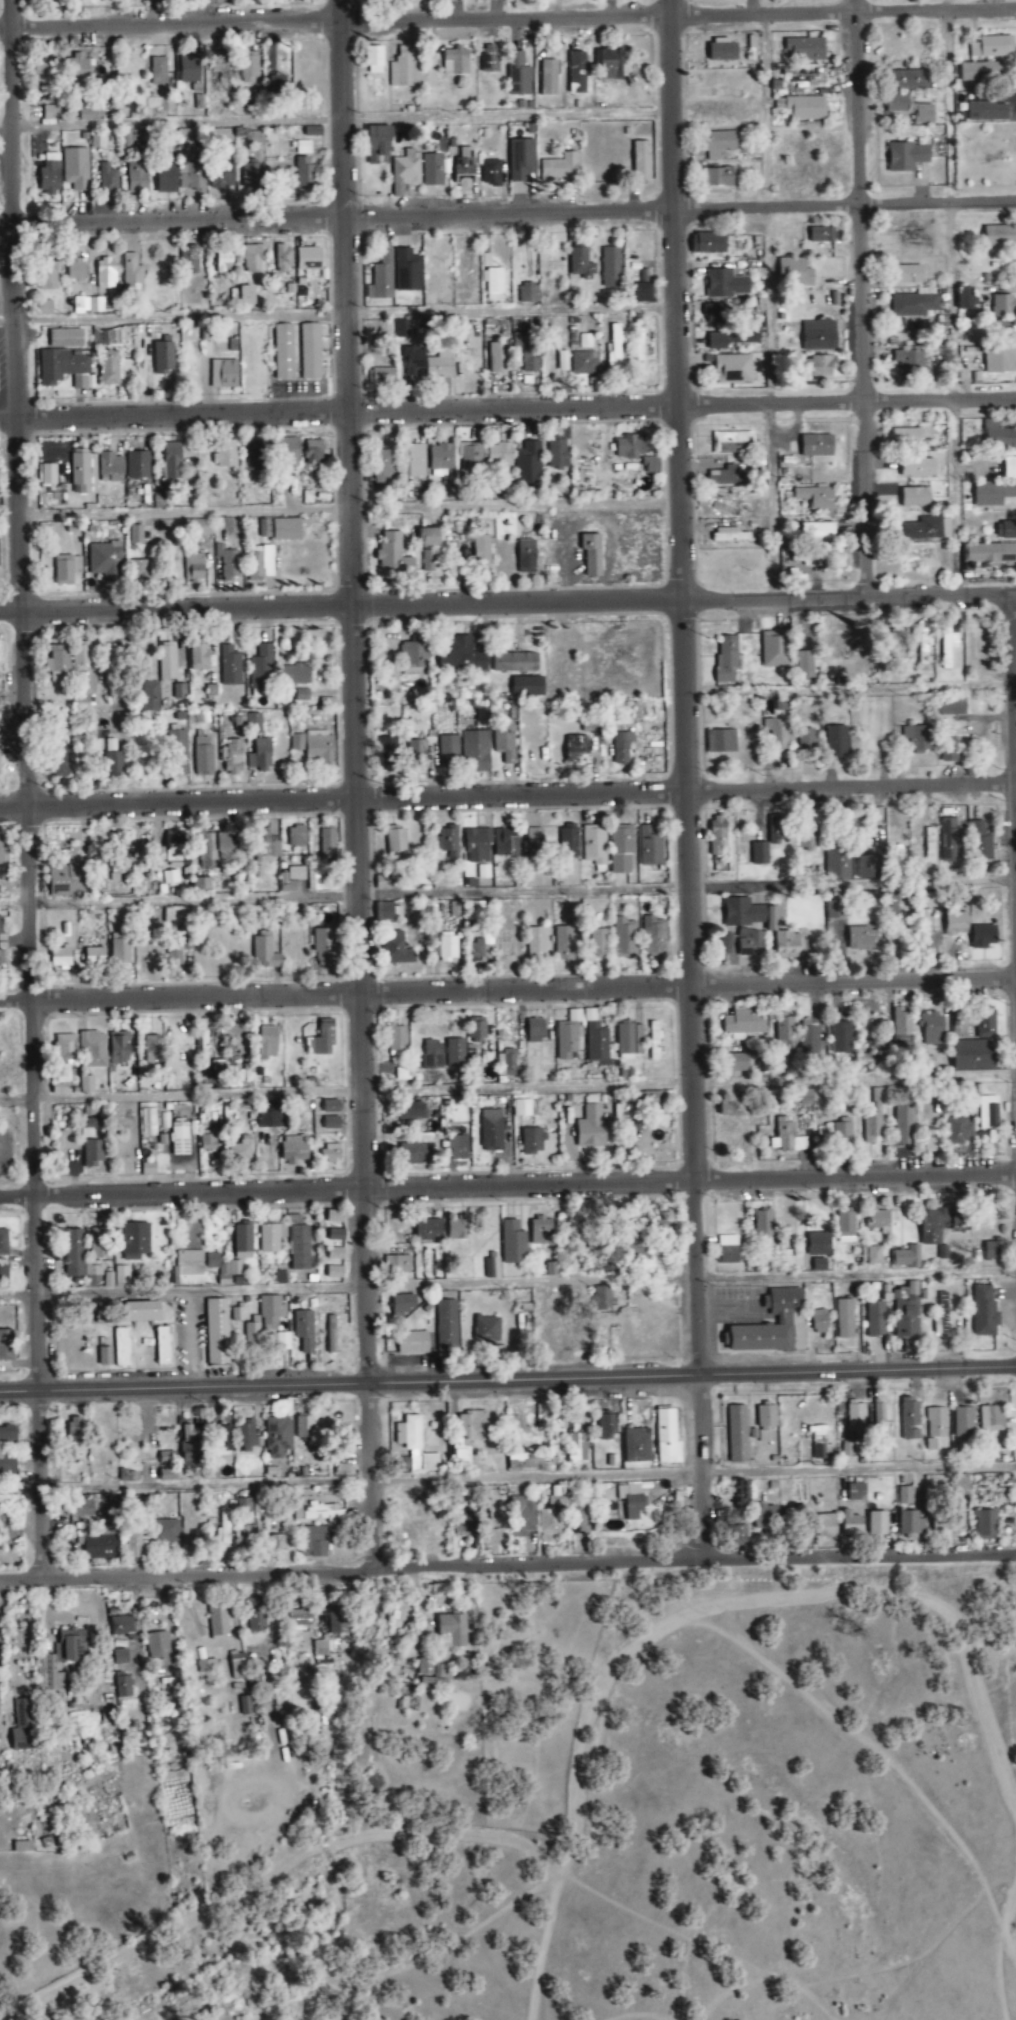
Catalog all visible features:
road: (507, 18)
building: (993, 47)
building: (805, 50)
building: (721, 53)
building: (374, 60)
building: (455, 61)
building: (489, 61)
building: (608, 65)
building: (219, 68)
building: (403, 69)
building: (189, 70)
building: (248, 70)
building: (79, 71)
building: (158, 71)
building: (44, 73)
building: (981, 73)
building: (577, 74)
building: (276, 75)
building: (518, 75)
building: (805, 78)
building: (548, 79)
building: (908, 81)
building: (897, 104)
building: (806, 108)
building: (987, 112)
building: (925, 115)
road: (335, 121)
building: (312, 132)
building: (125, 139)
building: (97, 140)
building: (717, 144)
building: (184, 146)
building: (378, 146)
building: (304, 147)
building: (986, 151)
building: (906, 157)
building: (521, 161)
building: (641, 161)
building: (75, 169)
building: (464, 169)
building: (559, 169)
building: (432, 171)
building: (491, 172)
building: (405, 173)
building: (304, 174)
building: (221, 176)
building: (191, 177)
building: (137, 178)
building: (251, 178)
building: (718, 178)
building: (167, 179)
building: (108, 180)
road: (507, 215)
building: (821, 235)
building: (1000, 237)
building: (709, 244)
building: (253, 259)
building: (283, 259)
building: (189, 260)
building: (224, 262)
building: (310, 263)
building: (580, 264)
building: (611, 268)
building: (75, 271)
building: (407, 271)
building: (46, 273)
building: (463, 274)
building: (105, 275)
building: (907, 275)
building: (131, 278)
building: (381, 278)
building: (494, 283)
building: (725, 285)
building: (638, 293)
building: (526, 294)
building: (247, 297)
road: (952, 297)
road: (861, 298)
road: (767, 299)
building: (966, 299)
road: (343, 303)
building: (88, 306)
building: (913, 306)
building: (1004, 307)
building: (43, 309)
road: (338, 313)
building: (714, 313)
building: (401, 330)
building: (1004, 330)
building: (819, 336)
building: (65, 339)
building: (107, 339)
building: (730, 339)
building: (585, 341)
building: (638, 342)
building: (615, 348)
building: (310, 352)
building: (284, 353)
building: (624, 353)
building: (525, 354)
building: (163, 358)
building: (497, 359)
building: (413, 361)
building: (1000, 361)
building: (584, 364)
building: (910, 365)
building: (439, 368)
building: (814, 368)
building: (63, 369)
building: (108, 369)
building: (732, 370)
building: (223, 375)
building: (382, 375)
road: (507, 407)
building: (992, 434)
building: (1008, 438)
building: (907, 439)
building: (731, 443)
building: (817, 446)
building: (287, 453)
building: (313, 453)
building: (635, 453)
building: (500, 455)
building: (224, 456)
building: (557, 456)
building: (470, 457)
building: (253, 458)
building: (412, 462)
building: (172, 463)
building: (528, 465)
building: (137, 466)
building: (383, 467)
building: (111, 468)
building: (918, 469)
building: (1009, 469)
building: (83, 473)
building: (48, 474)
building: (726, 479)
building: (993, 493)
building: (815, 498)
building: (915, 498)
building: (729, 507)
road: (351, 508)
building: (201, 527)
building: (264, 529)
building: (286, 530)
building: (921, 530)
building: (1006, 531)
building: (816, 532)
building: (136, 535)
building: (730, 536)
building: (429, 538)
building: (482, 551)
building: (991, 554)
building: (394, 556)
building: (592, 557)
building: (527, 558)
building: (816, 558)
building: (104, 562)
building: (427, 562)
building: (259, 563)
building: (227, 564)
building: (193, 568)
building: (66, 570)
building: (139, 572)
road: (682, 600)
road: (174, 611)
building: (894, 645)
building: (922, 645)
building: (948, 647)
building: (775, 649)
building: (81, 653)
building: (414, 654)
building: (463, 655)
building: (200, 657)
building: (57, 659)
building: (726, 659)
building: (167, 661)
building: (515, 662)
building: (805, 664)
building: (230, 665)
building: (262, 669)
building: (293, 675)
building: (527, 686)
road: (851, 690)
building: (179, 691)
building: (149, 697)
building: (79, 702)
building: (952, 707)
road: (12, 709)
building: (1, 724)
building: (247, 724)
building: (777, 734)
building: (917, 738)
building: (837, 739)
building: (504, 741)
building: (720, 741)
building: (805, 741)
building: (296, 742)
building: (177, 743)
building: (621, 747)
building: (319, 749)
building: (948, 749)
building: (448, 751)
building: (477, 751)
building: (577, 751)
building: (388, 754)
building: (417, 754)
building: (259, 755)
building: (202, 756)
building: (113, 758)
building: (232, 758)
building: (64, 759)
road: (1013, 760)
road: (688, 780)
road: (27, 790)
road: (507, 792)
building: (776, 829)
building: (717, 834)
building: (297, 837)
building: (807, 839)
building: (447, 840)
building: (506, 841)
building: (947, 841)
building: (327, 842)
building: (568, 842)
building: (980, 842)
building: (533, 843)
building: (395, 844)
building: (263, 845)
building: (594, 845)
building: (928, 845)
building: (477, 846)
building: (650, 846)
building: (212, 849)
building: (893, 850)
building: (620, 851)
building: (759, 853)
building: (174, 854)
building: (869, 867)
building: (483, 872)
building: (296, 874)
building: (66, 879)
building: (200, 884)
road: (507, 892)
building: (871, 900)
building: (933, 900)
building: (456, 909)
building: (385, 911)
building: (742, 913)
building: (956, 922)
building: (0, 926)
building: (983, 936)
building: (652, 937)
building: (784, 937)
building: (862, 937)
building: (625, 938)
building: (597, 942)
building: (725, 943)
building: (751, 943)
building: (564, 944)
building: (506, 945)
building: (536, 945)
building: (178, 947)
building: (323, 947)
building: (446, 948)
building: (397, 950)
building: (120, 951)
building: (264, 953)
building: (476, 953)
building: (94, 957)
building: (1, 958)
road: (507, 991)
building: (743, 1024)
building: (901, 1026)
building: (932, 1028)
building: (535, 1030)
building: (476, 1031)
building: (785, 1031)
building: (568, 1036)
building: (809, 1038)
building: (841, 1038)
building: (397, 1039)
building: (236, 1040)
building: (321, 1040)
building: (596, 1040)
building: (629, 1041)
building: (654, 1041)
building: (268, 1043)
building: (978, 1046)
building: (118, 1048)
building: (93, 1049)
building: (152, 1049)
building: (454, 1053)
building: (432, 1055)
building: (65, 1056)
building: (506, 1063)
building: (737, 1063)
building: (86, 1085)
road: (507, 1086)
road: (361, 1091)
building: (805, 1097)
building: (330, 1105)
building: (735, 1106)
building: (522, 1108)
building: (653, 1109)
building: (412, 1111)
building: (987, 1112)
building: (271, 1117)
building: (330, 1123)
building: (871, 1127)
building: (591, 1128)
building: (960, 1129)
building: (491, 1130)
building: (842, 1133)
building: (786, 1137)
building: (179, 1139)
building: (207, 1141)
building: (532, 1141)
building: (932, 1141)
building: (458, 1148)
building: (294, 1150)
building: (241, 1151)
building: (93, 1153)
building: (329, 1153)
building: (413, 1154)
road: (507, 1185)
building: (880, 1221)
building: (763, 1225)
building: (938, 1225)
building: (846, 1227)
building: (457, 1230)
building: (428, 1231)
building: (541, 1232)
building: (270, 1238)
building: (135, 1240)
building: (242, 1241)
building: (3, 1243)
building: (513, 1243)
building: (99, 1244)
building: (817, 1244)
building: (297, 1245)
building: (994, 1250)
building: (729, 1251)
building: (74, 1252)
building: (636, 1252)
building: (874, 1255)
building: (907, 1258)
building: (212, 1261)
building: (398, 1264)
building: (188, 1269)
building: (491, 1269)
building: (551, 1269)
building: (92, 1271)
building: (3, 1273)
road: (507, 1282)
building: (602, 1299)
building: (403, 1305)
building: (84, 1312)
building: (141, 1312)
building: (984, 1312)
building: (271, 1315)
building: (907, 1316)
building: (844, 1319)
building: (875, 1319)
building: (784, 1321)
building: (819, 1321)
building: (941, 1323)
building: (446, 1329)
building: (484, 1330)
building: (304, 1331)
building: (217, 1333)
building: (251, 1336)
building: (328, 1338)
building: (412, 1343)
building: (6, 1345)
building: (163, 1346)
building: (121, 1347)
building: (104, 1357)
road: (508, 1381)
building: (878, 1415)
building: (856, 1418)
building: (910, 1419)
building: (992, 1419)
building: (963, 1422)
building: (936, 1423)
building: (766, 1424)
building: (472, 1426)
building: (303, 1428)
building: (606, 1428)
building: (74, 1431)
building: (817, 1432)
building: (245, 1433)
building: (8, 1434)
building: (737, 1434)
building: (278, 1435)
building: (221, 1438)
building: (667, 1438)
building: (415, 1443)
building: (930, 1445)
building: (189, 1446)
building: (638, 1446)
building: (577, 1448)
building: (846, 1449)
building: (459, 1452)
building: (818, 1453)
building: (166, 1458)
building: (526, 1460)
building: (7, 1465)
road: (507, 1475)
building: (960, 1485)
building: (856, 1493)
building: (905, 1496)
building: (739, 1498)
building: (631, 1500)
building: (244, 1505)
building: (495, 1510)
building: (766, 1510)
building: (794, 1510)
building: (297, 1512)
building: (80, 1513)
building: (322, 1513)
building: (551, 1514)
building: (520, 1517)
building: (577, 1518)
building: (948, 1519)
building: (463, 1523)
building: (851, 1524)
building: (877, 1524)
building: (910, 1524)
building: (985, 1524)
building: (826, 1526)
building: (222, 1528)
building: (167, 1532)
building: (249, 1534)
building: (737, 1535)
building: (310, 1542)
building: (280, 1543)
building: (99, 1545)
building: (133, 1545)
road: (507, 1567)
building: (255, 1615)
building: (299, 1619)
building: (218, 1622)
building: (336, 1623)
building: (121, 1626)
building: (451, 1632)
building: (159, 1645)
building: (321, 1649)
building: (120, 1657)
building: (62, 1659)
building: (431, 1670)
building: (123, 1687)
building: (244, 1706)
building: (22, 1726)
building: (22, 1848)

